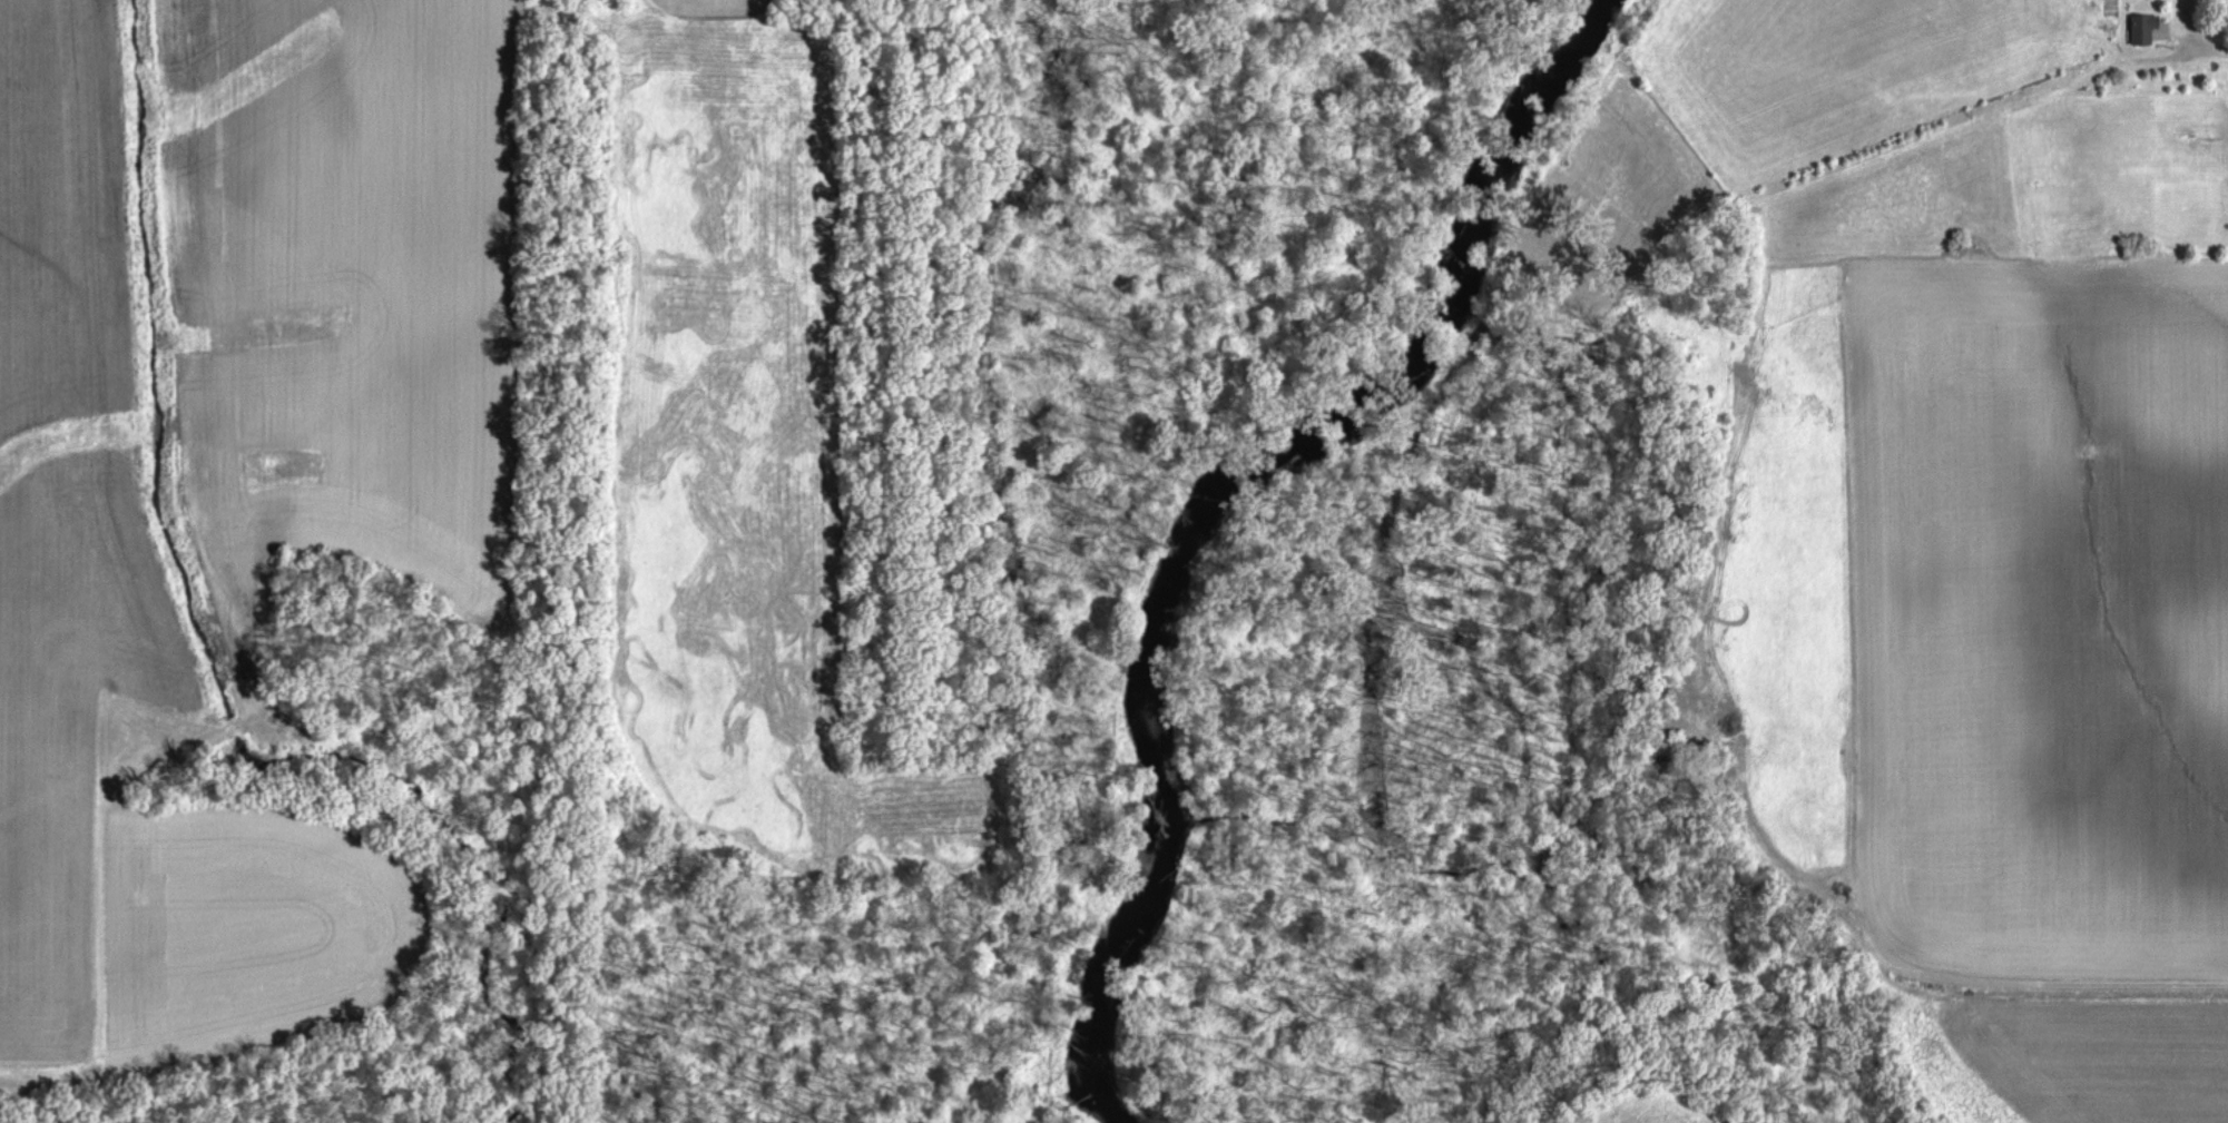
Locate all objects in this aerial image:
building: (2142, 30)
road: (2202, 35)

